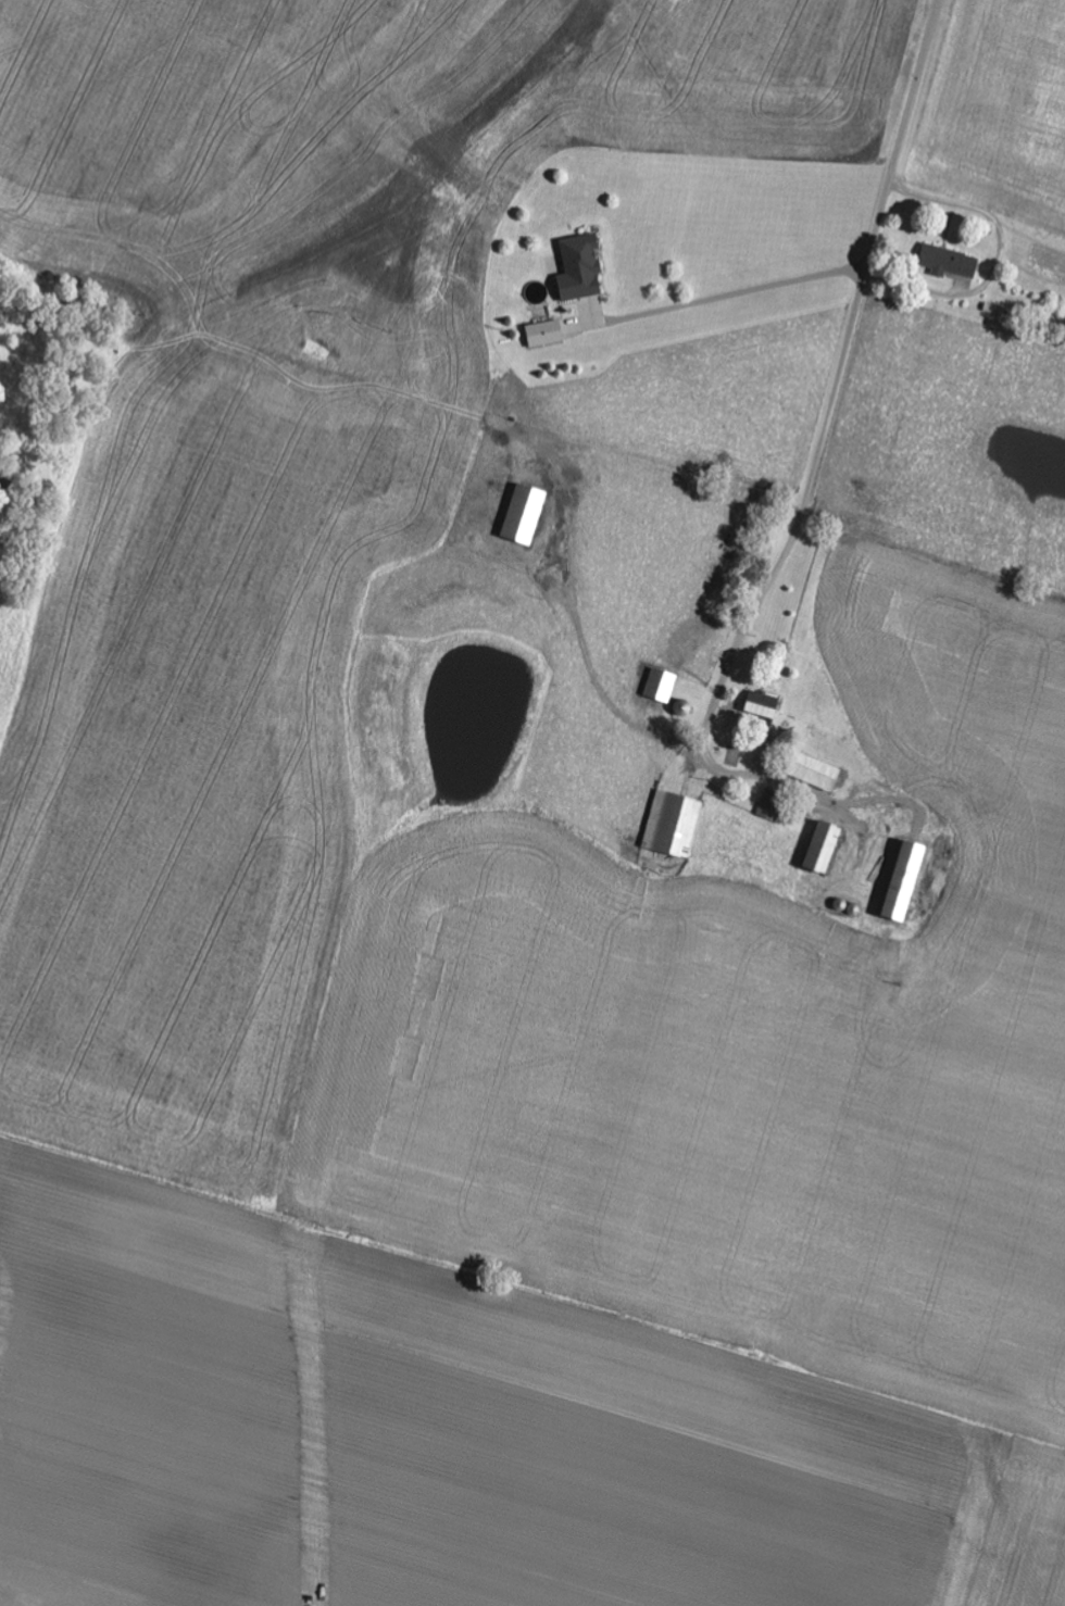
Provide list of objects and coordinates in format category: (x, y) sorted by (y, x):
building: (949, 263)
building: (581, 268)
building: (546, 335)
road: (828, 419)
building: (525, 514)
building: (661, 686)
building: (763, 705)
building: (815, 773)
building: (770, 805)
building: (673, 824)
building: (825, 846)
building: (906, 880)

